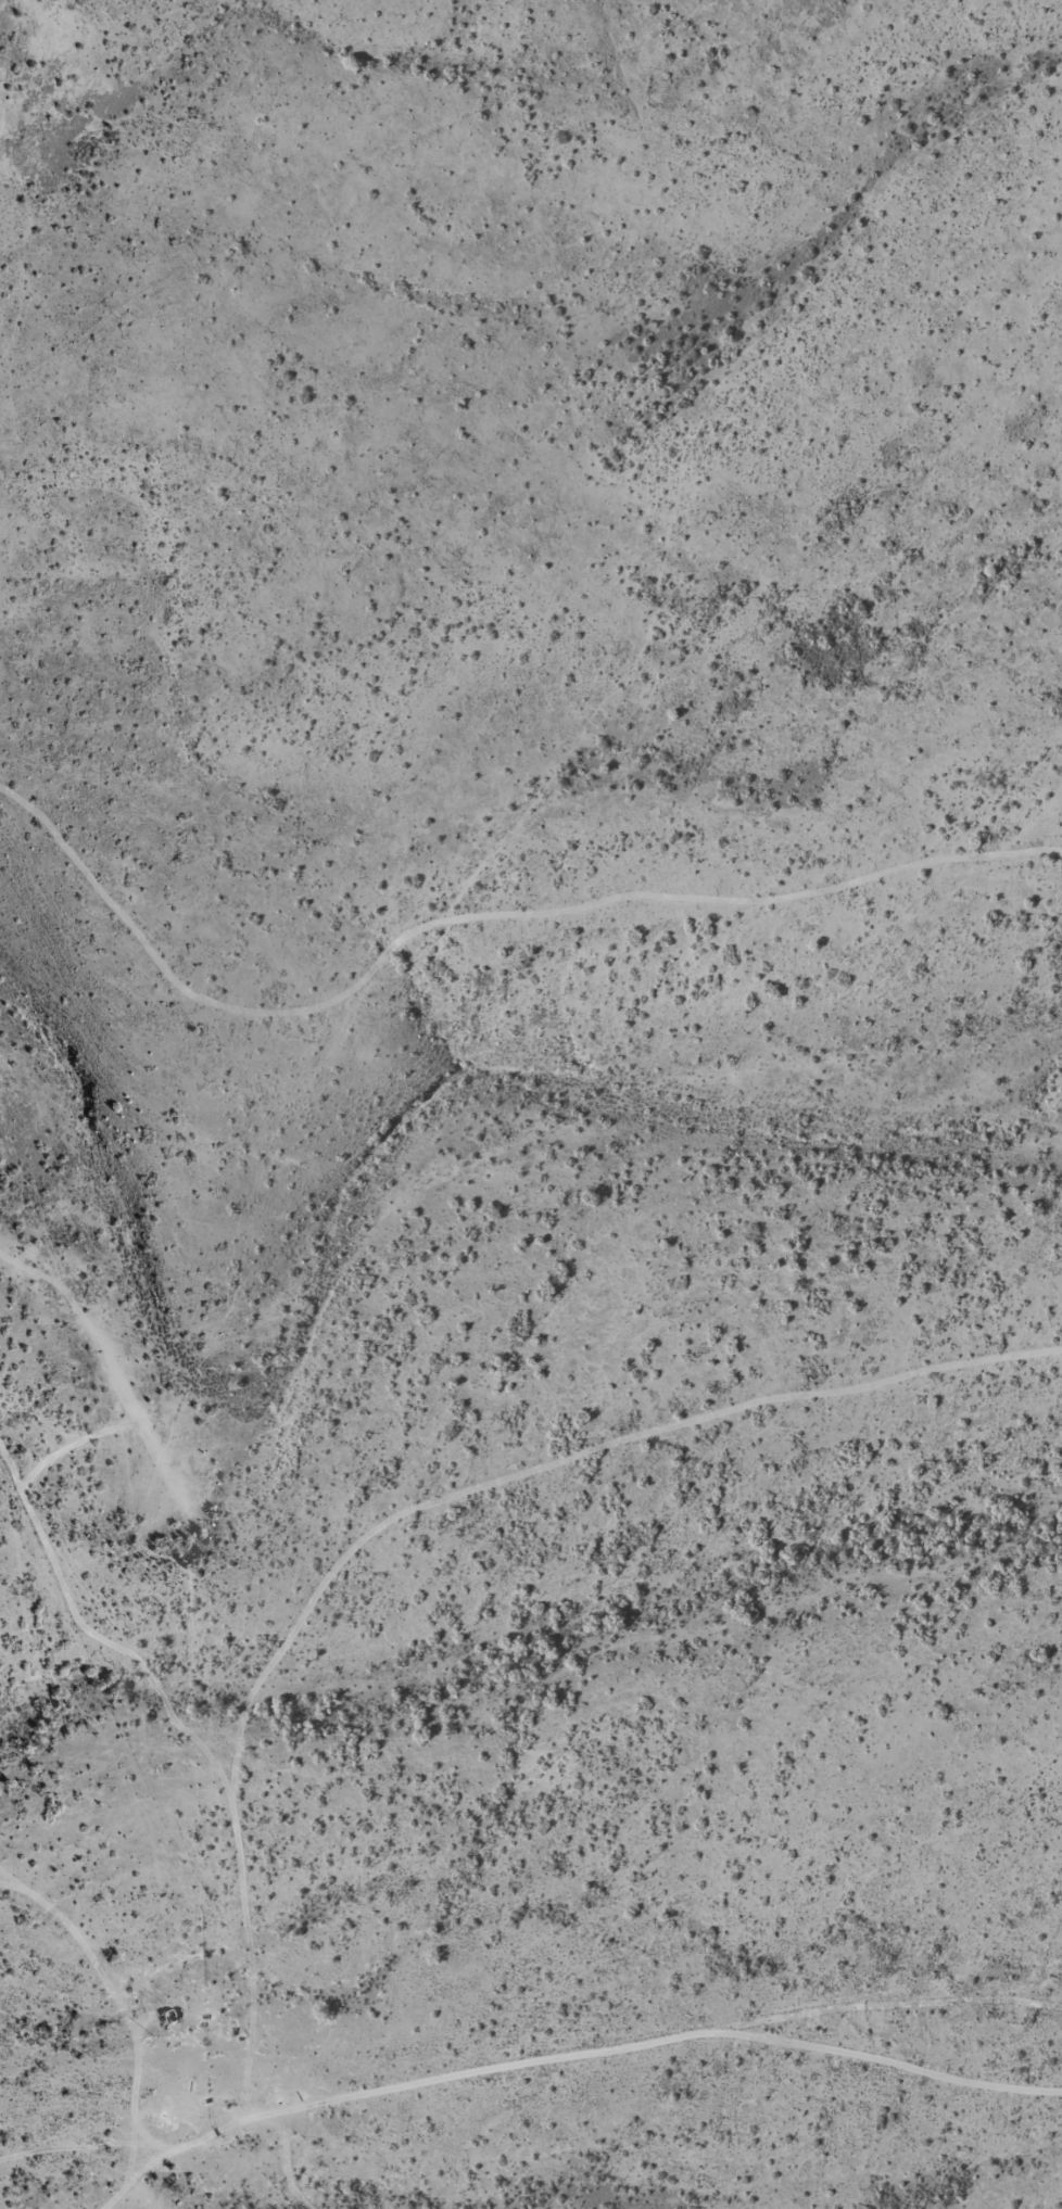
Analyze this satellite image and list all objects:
road: (531, 2079)

